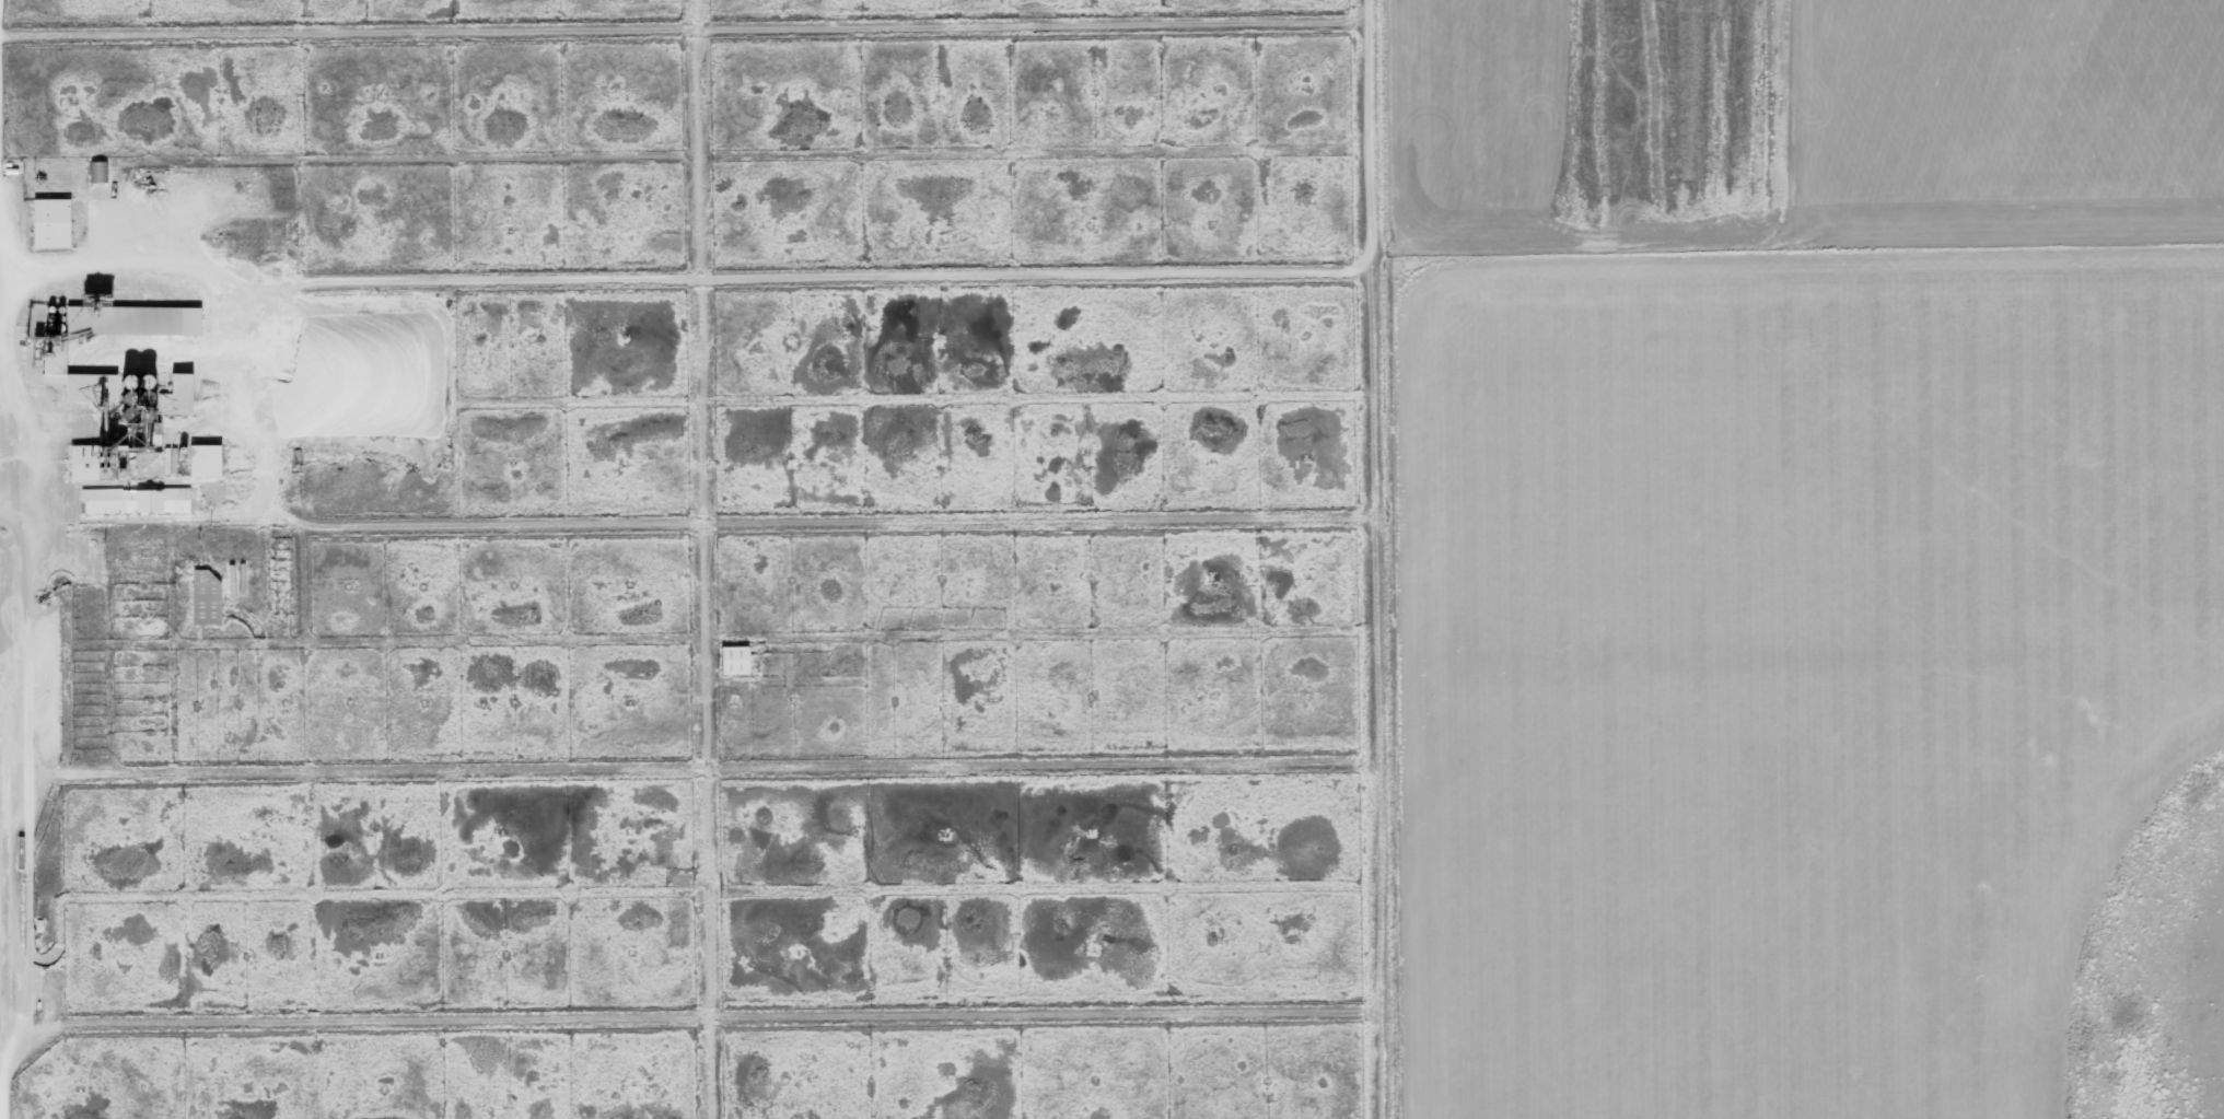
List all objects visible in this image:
building: (55, 223)
building: (208, 461)
building: (88, 463)
road: (12, 477)
building: (139, 501)
road: (702, 559)
road: (1369, 559)
building: (208, 597)
building: (737, 661)
road: (1, 996)

